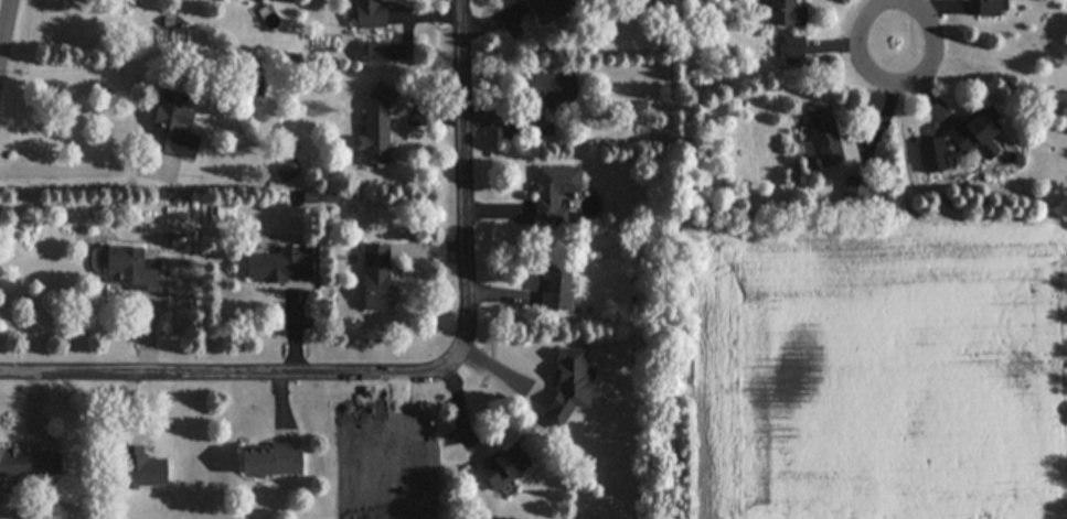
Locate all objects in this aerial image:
building: (989, 9)
building: (545, 10)
building: (785, 13)
building: (365, 14)
road: (7, 37)
building: (374, 54)
road: (899, 79)
building: (250, 87)
building: (547, 98)
building: (173, 126)
building: (375, 129)
building: (974, 133)
building: (822, 136)
building: (932, 156)
road: (83, 166)
building: (551, 192)
building: (279, 266)
building: (132, 269)
building: (373, 279)
building: (555, 291)
road: (414, 383)
building: (270, 461)
building: (30, 463)
building: (500, 466)
building: (141, 469)

